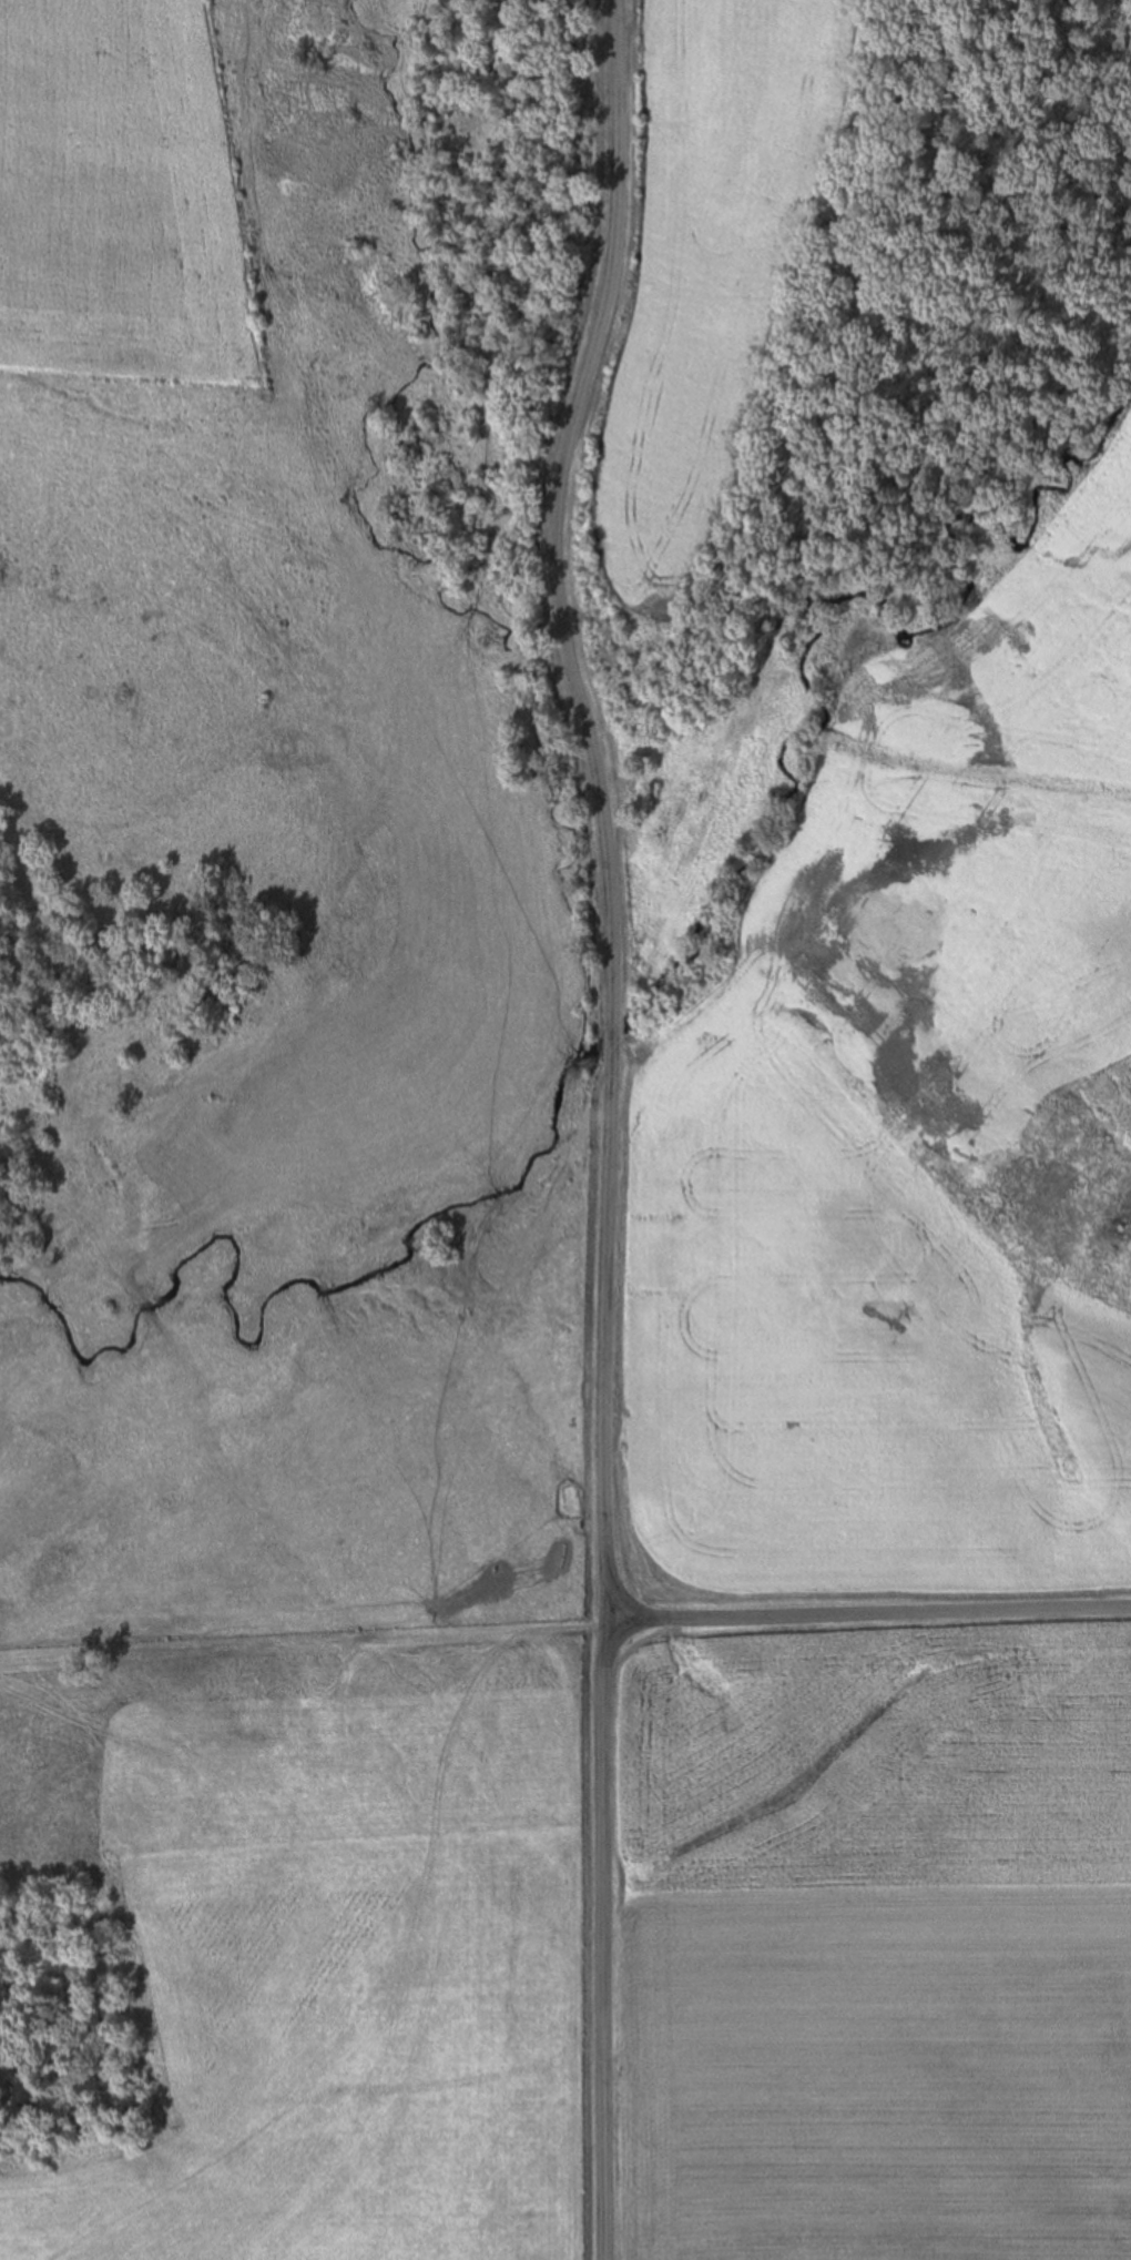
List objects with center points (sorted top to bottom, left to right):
road: (607, 803)
road: (868, 1613)
road: (303, 1645)
road: (608, 1939)

